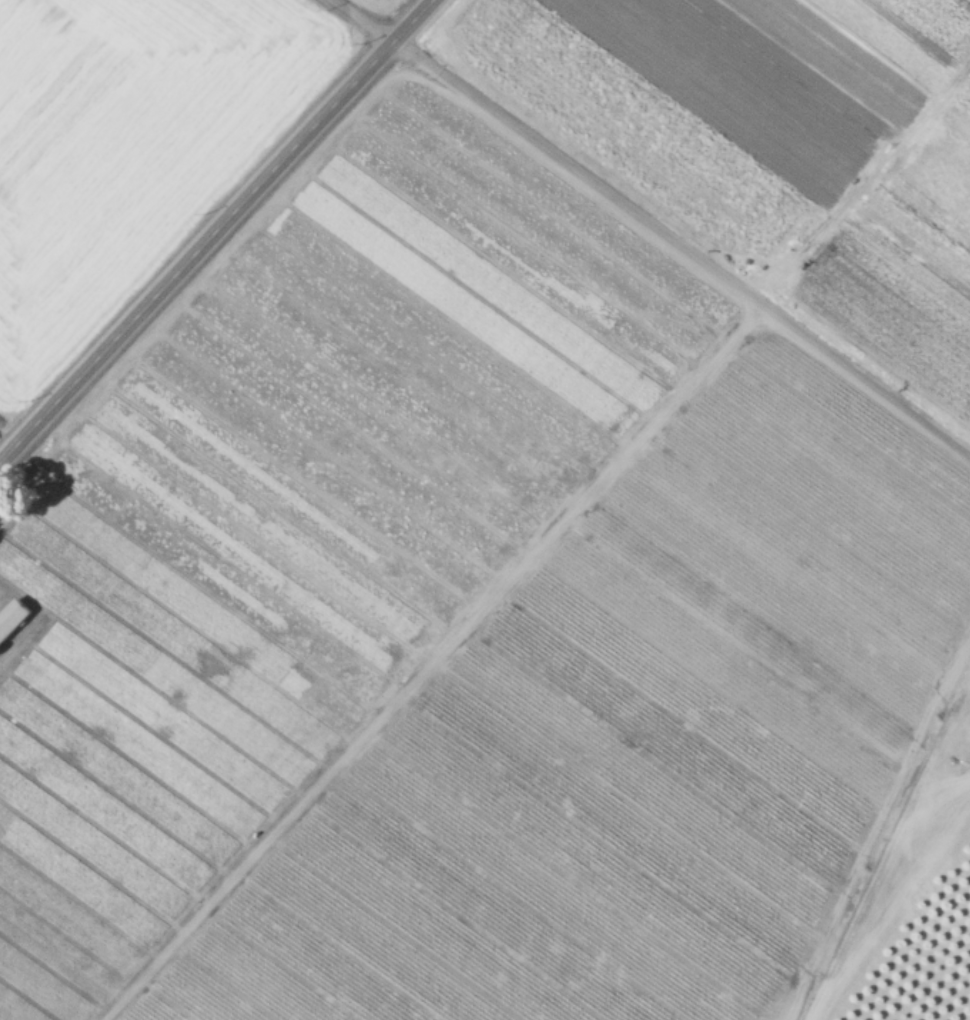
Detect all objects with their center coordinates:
road: (362, 21)
crop: (140, 148)
road: (216, 230)
road: (681, 249)
road: (9, 431)
crop: (513, 541)
building: (12, 618)

